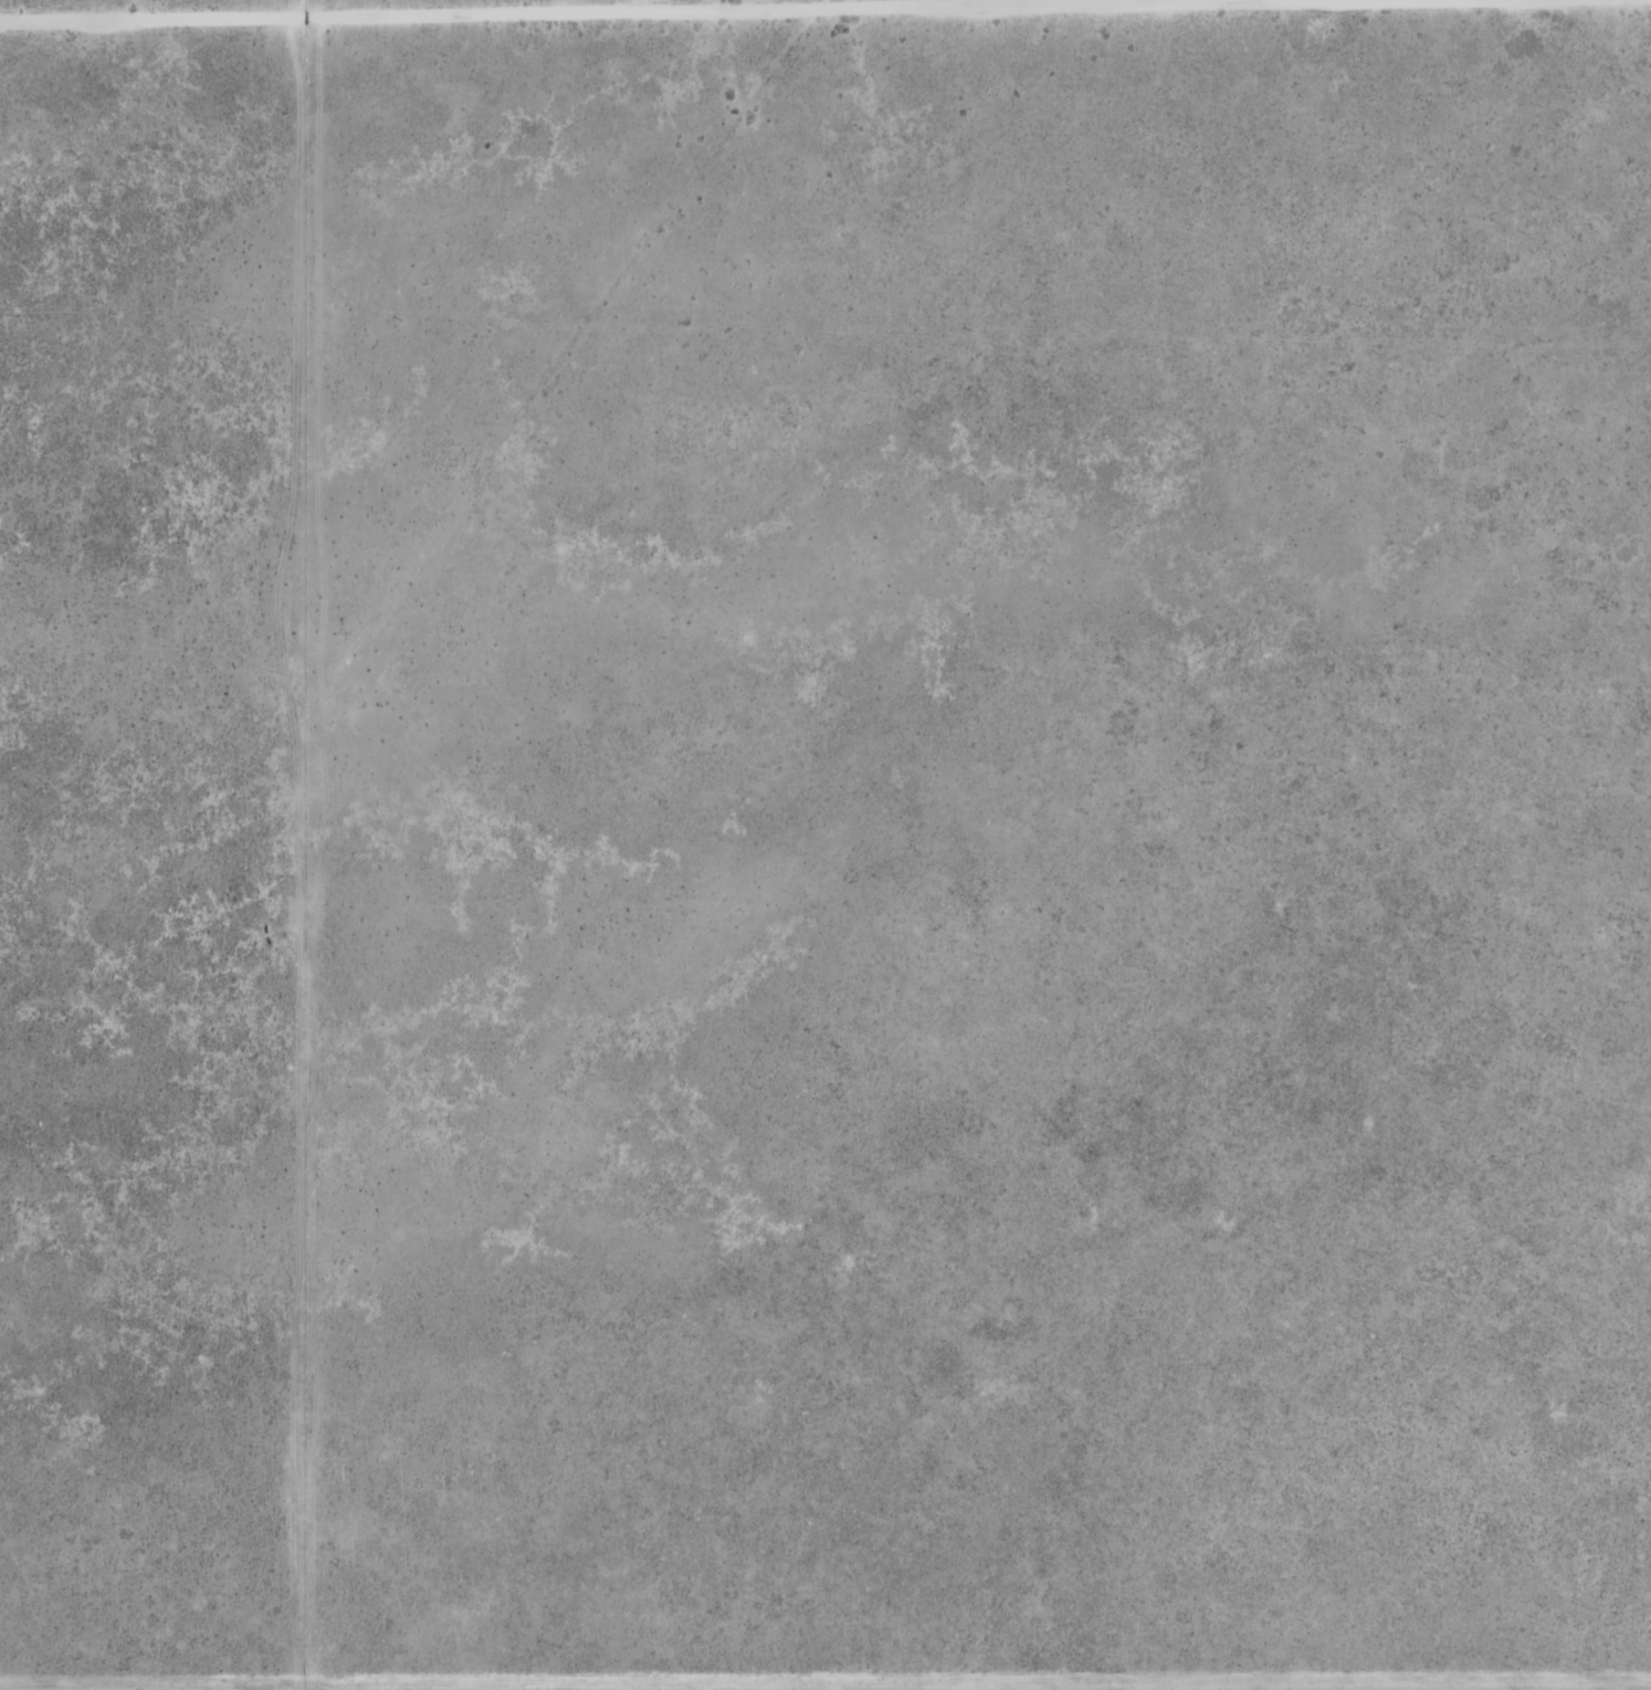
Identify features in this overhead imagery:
road: (561, 6)
road: (734, 9)

